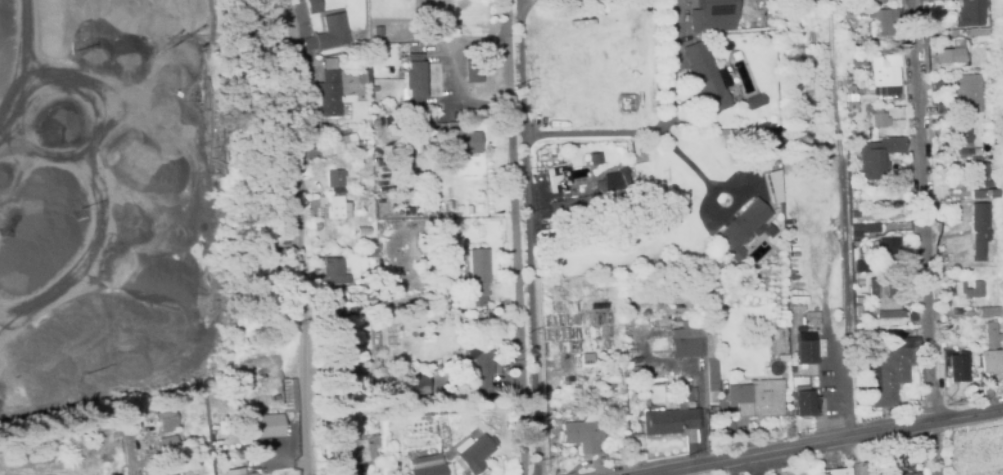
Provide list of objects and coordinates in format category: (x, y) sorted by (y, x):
building: (872, 0)
building: (99, 2)
building: (815, 4)
building: (313, 6)
building: (407, 7)
building: (854, 7)
building: (843, 8)
building: (970, 13)
building: (711, 16)
building: (885, 22)
building: (786, 24)
building: (979, 33)
building: (327, 34)
building: (426, 37)
building: (713, 38)
building: (360, 43)
building: (1000, 43)
building: (951, 54)
building: (800, 58)
building: (857, 60)
building: (365, 68)
building: (886, 71)
building: (986, 74)
building: (473, 76)
building: (704, 79)
building: (413, 80)
building: (331, 87)
building: (375, 88)
building: (851, 94)
building: (966, 94)
building: (757, 102)
building: (941, 105)
building: (880, 118)
building: (988, 119)
building: (870, 129)
building: (987, 130)
road: (659, 131)
building: (870, 134)
building: (960, 135)
building: (461, 140)
building: (337, 143)
building: (418, 147)
building: (976, 152)
building: (762, 153)
building: (965, 153)
building: (595, 156)
building: (878, 156)
building: (975, 158)
building: (560, 177)
building: (334, 178)
building: (980, 181)
building: (777, 183)
building: (596, 199)
building: (336, 207)
building: (781, 207)
road: (927, 211)
road: (845, 219)
building: (422, 222)
building: (977, 227)
building: (742, 228)
building: (362, 230)
building: (859, 233)
road: (303, 237)
road: (524, 237)
building: (363, 240)
building: (971, 240)
building: (886, 249)
building: (368, 252)
building: (859, 267)
building: (477, 272)
building: (334, 273)
building: (883, 289)
building: (371, 292)
building: (967, 293)
building: (443, 300)
building: (335, 301)
building: (797, 305)
building: (857, 311)
building: (957, 311)
building: (969, 312)
building: (989, 313)
building: (889, 315)
building: (451, 321)
building: (811, 323)
building: (877, 333)
building: (891, 335)
building: (990, 336)
building: (699, 348)
building: (344, 350)
building: (631, 352)
building: (806, 352)
building: (458, 355)
building: (589, 358)
building: (609, 358)
building: (577, 359)
building: (478, 363)
building: (992, 363)
building: (958, 368)
building: (637, 375)
building: (890, 377)
building: (410, 382)
building: (607, 382)
building: (986, 391)
building: (289, 396)
building: (275, 399)
building: (756, 399)
building: (804, 403)
building: (232, 405)
building: (430, 410)
building: (406, 413)
building: (398, 414)
building: (415, 414)
building: (388, 415)
building: (335, 416)
building: (165, 418)
building: (670, 421)
building: (267, 426)
building: (583, 431)
road: (834, 443)
building: (351, 451)
building: (167, 455)
building: (474, 455)
building: (428, 467)
building: (836, 472)
building: (250, 474)
building: (916, 474)

